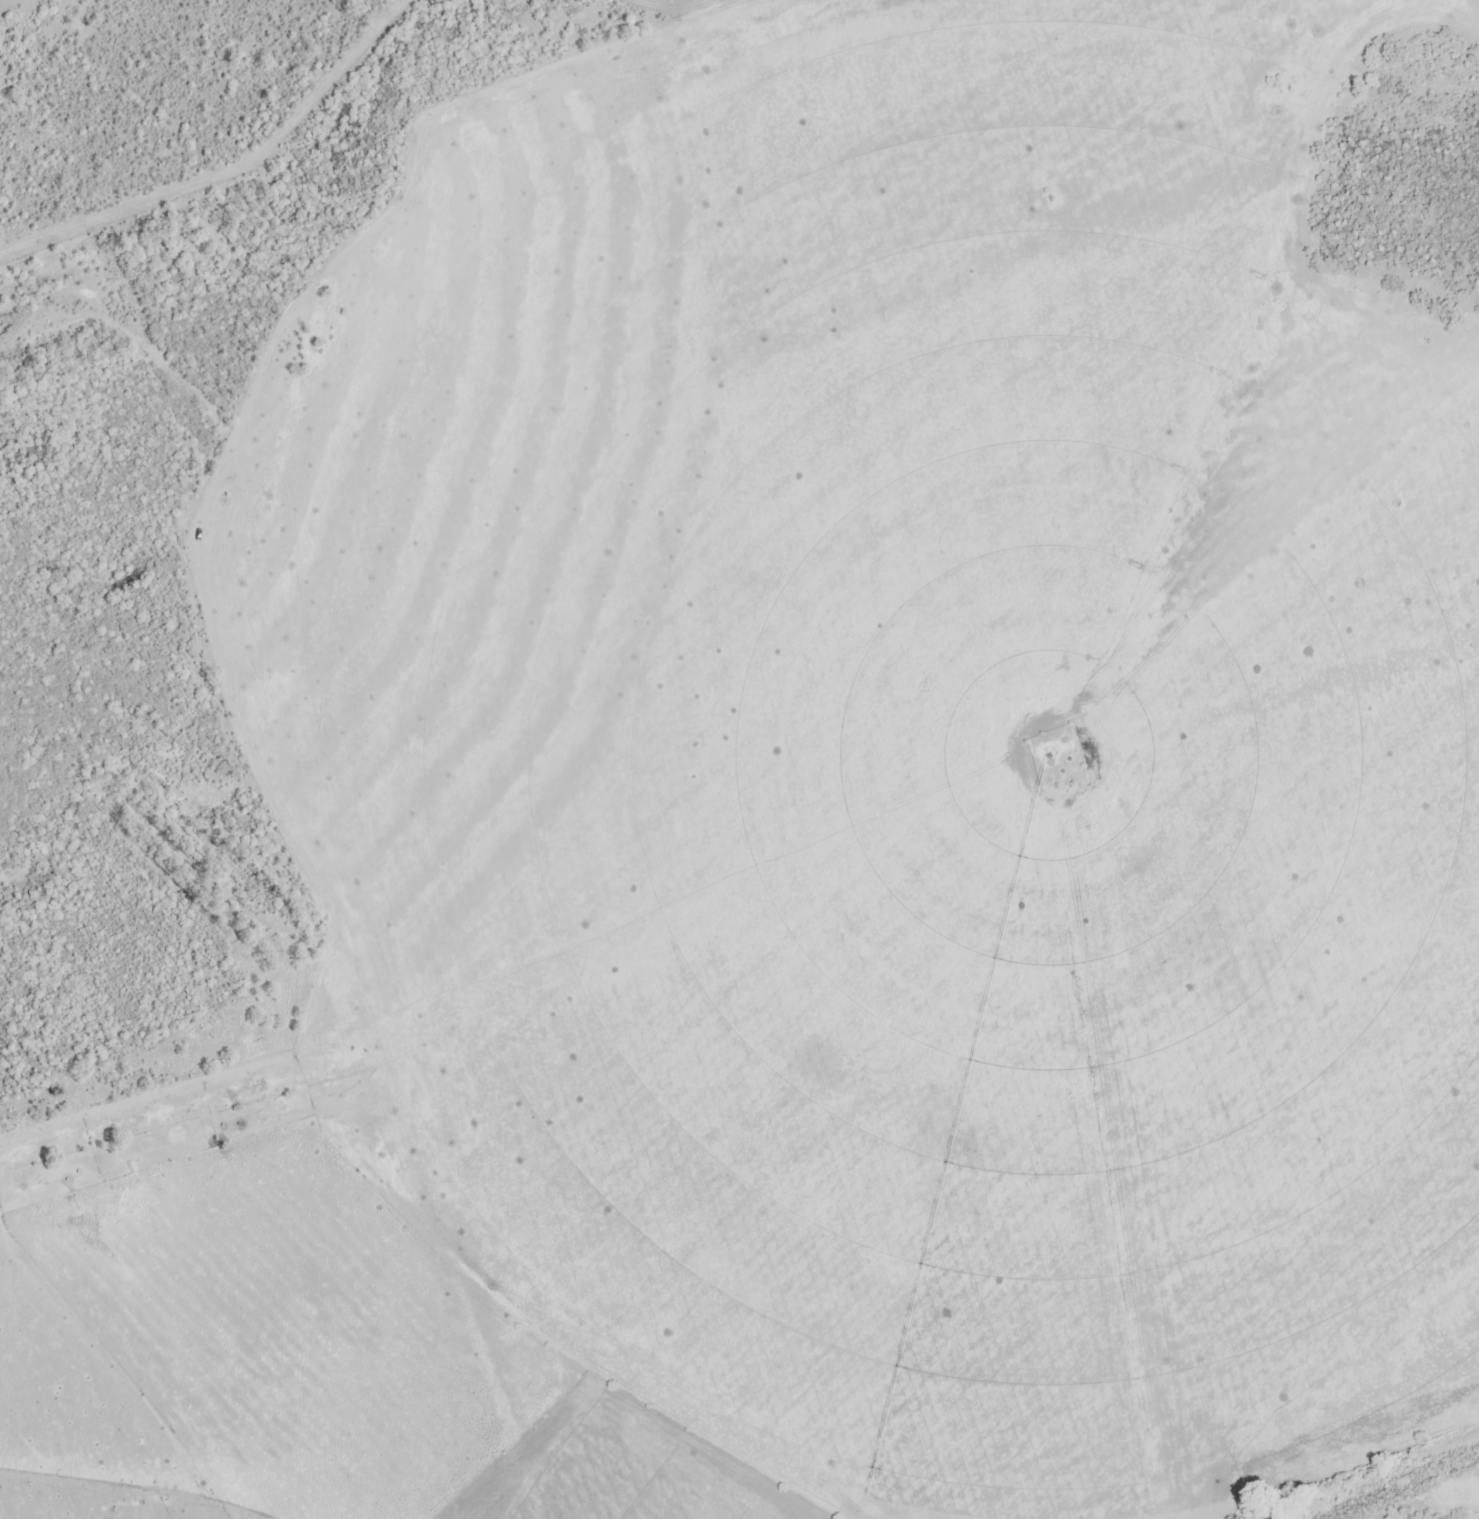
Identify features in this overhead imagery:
road: (684, 15)
road: (234, 171)

